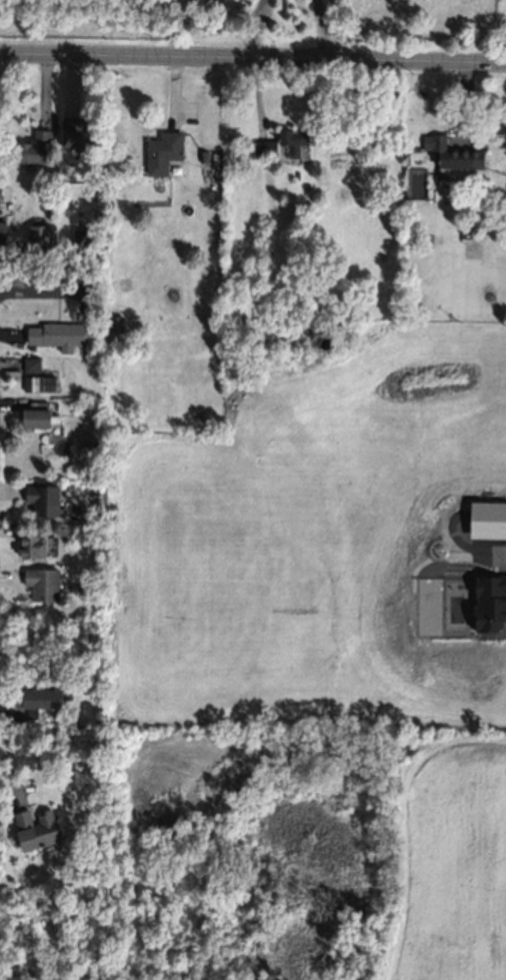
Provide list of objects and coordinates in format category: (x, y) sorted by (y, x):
road: (258, 29)
road: (323, 31)
road: (253, 59)
building: (78, 134)
building: (292, 139)
building: (264, 149)
building: (32, 151)
building: (163, 152)
building: (201, 154)
building: (454, 154)
building: (95, 188)
building: (50, 191)
building: (50, 210)
building: (464, 228)
building: (1, 237)
building: (37, 238)
building: (81, 238)
building: (470, 248)
road: (42, 292)
building: (117, 321)
building: (57, 335)
building: (323, 340)
building: (35, 377)
building: (37, 414)
building: (93, 445)
building: (43, 501)
building: (30, 545)
building: (38, 581)
building: (42, 704)
building: (32, 826)

